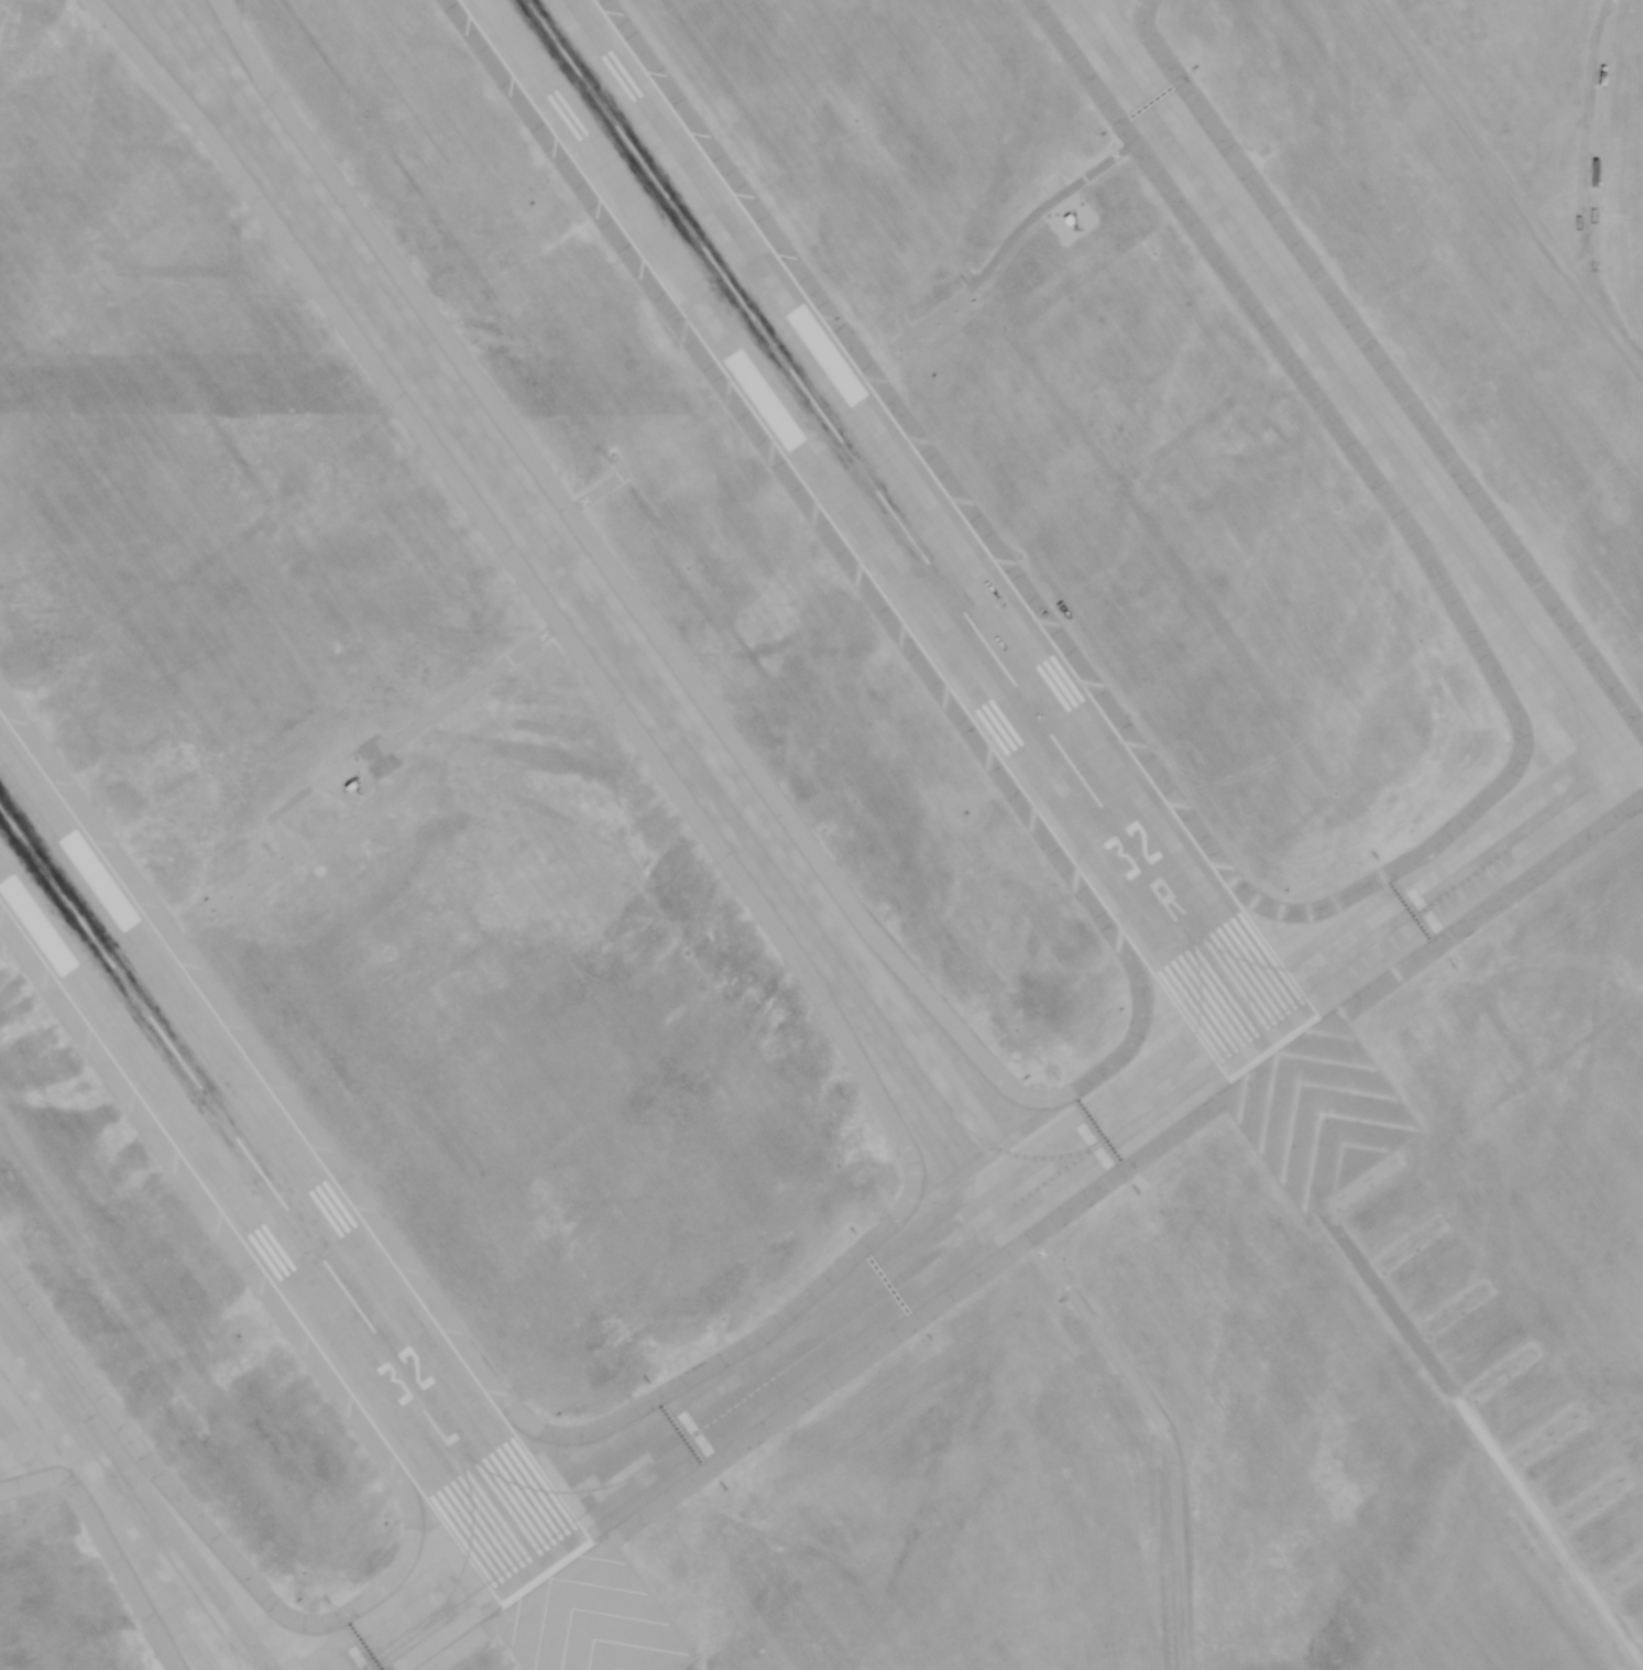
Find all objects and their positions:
airport apron: (1109, 18)
road: (1585, 161)
road: (1509, 185)
road: (1022, 225)
airport runway: (899, 522)
airport taxiway: (1465, 545)
airport taxiway: (601, 619)
road: (377, 749)
airport: (821, 834)
airport taxiway: (1267, 964)
airport taxiway: (1197, 1014)
airport taxiway: (971, 1188)
airport runway: (274, 1191)
airport taxiway: (895, 1289)
airport apron: (34, 1414)
road: (1158, 1417)
road: (1479, 1438)
airport taxiway: (530, 1486)
airport taxiway: (130, 1493)
airport taxiway: (472, 1531)
airport taxiway: (447, 1609)
airport taxiway: (230, 1648)

